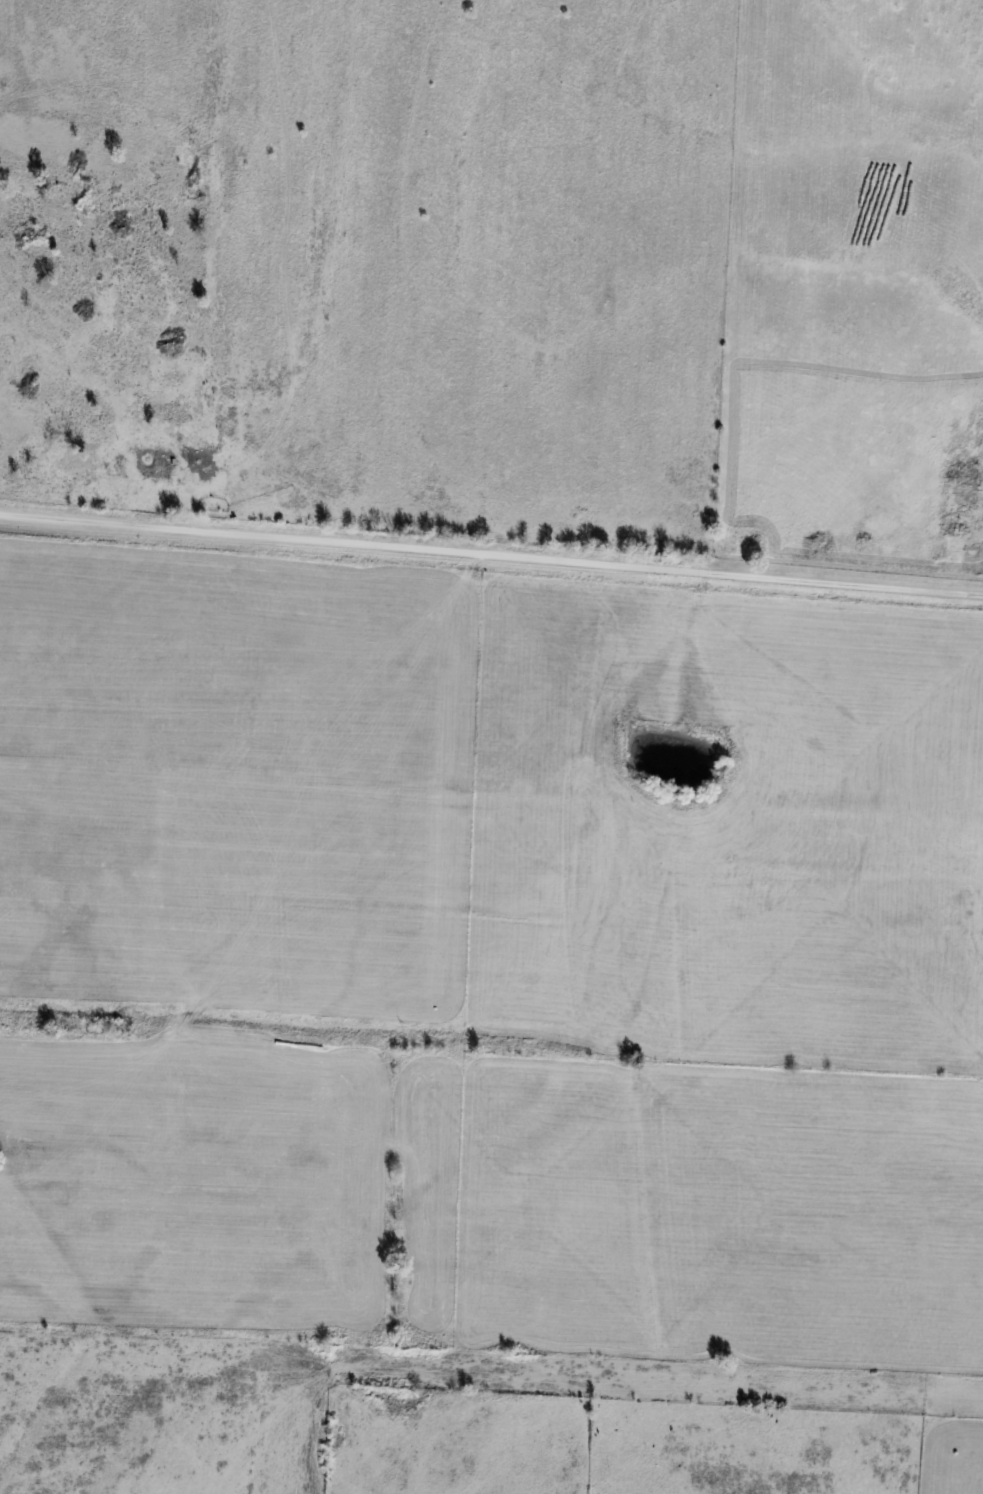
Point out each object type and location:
road: (491, 554)

